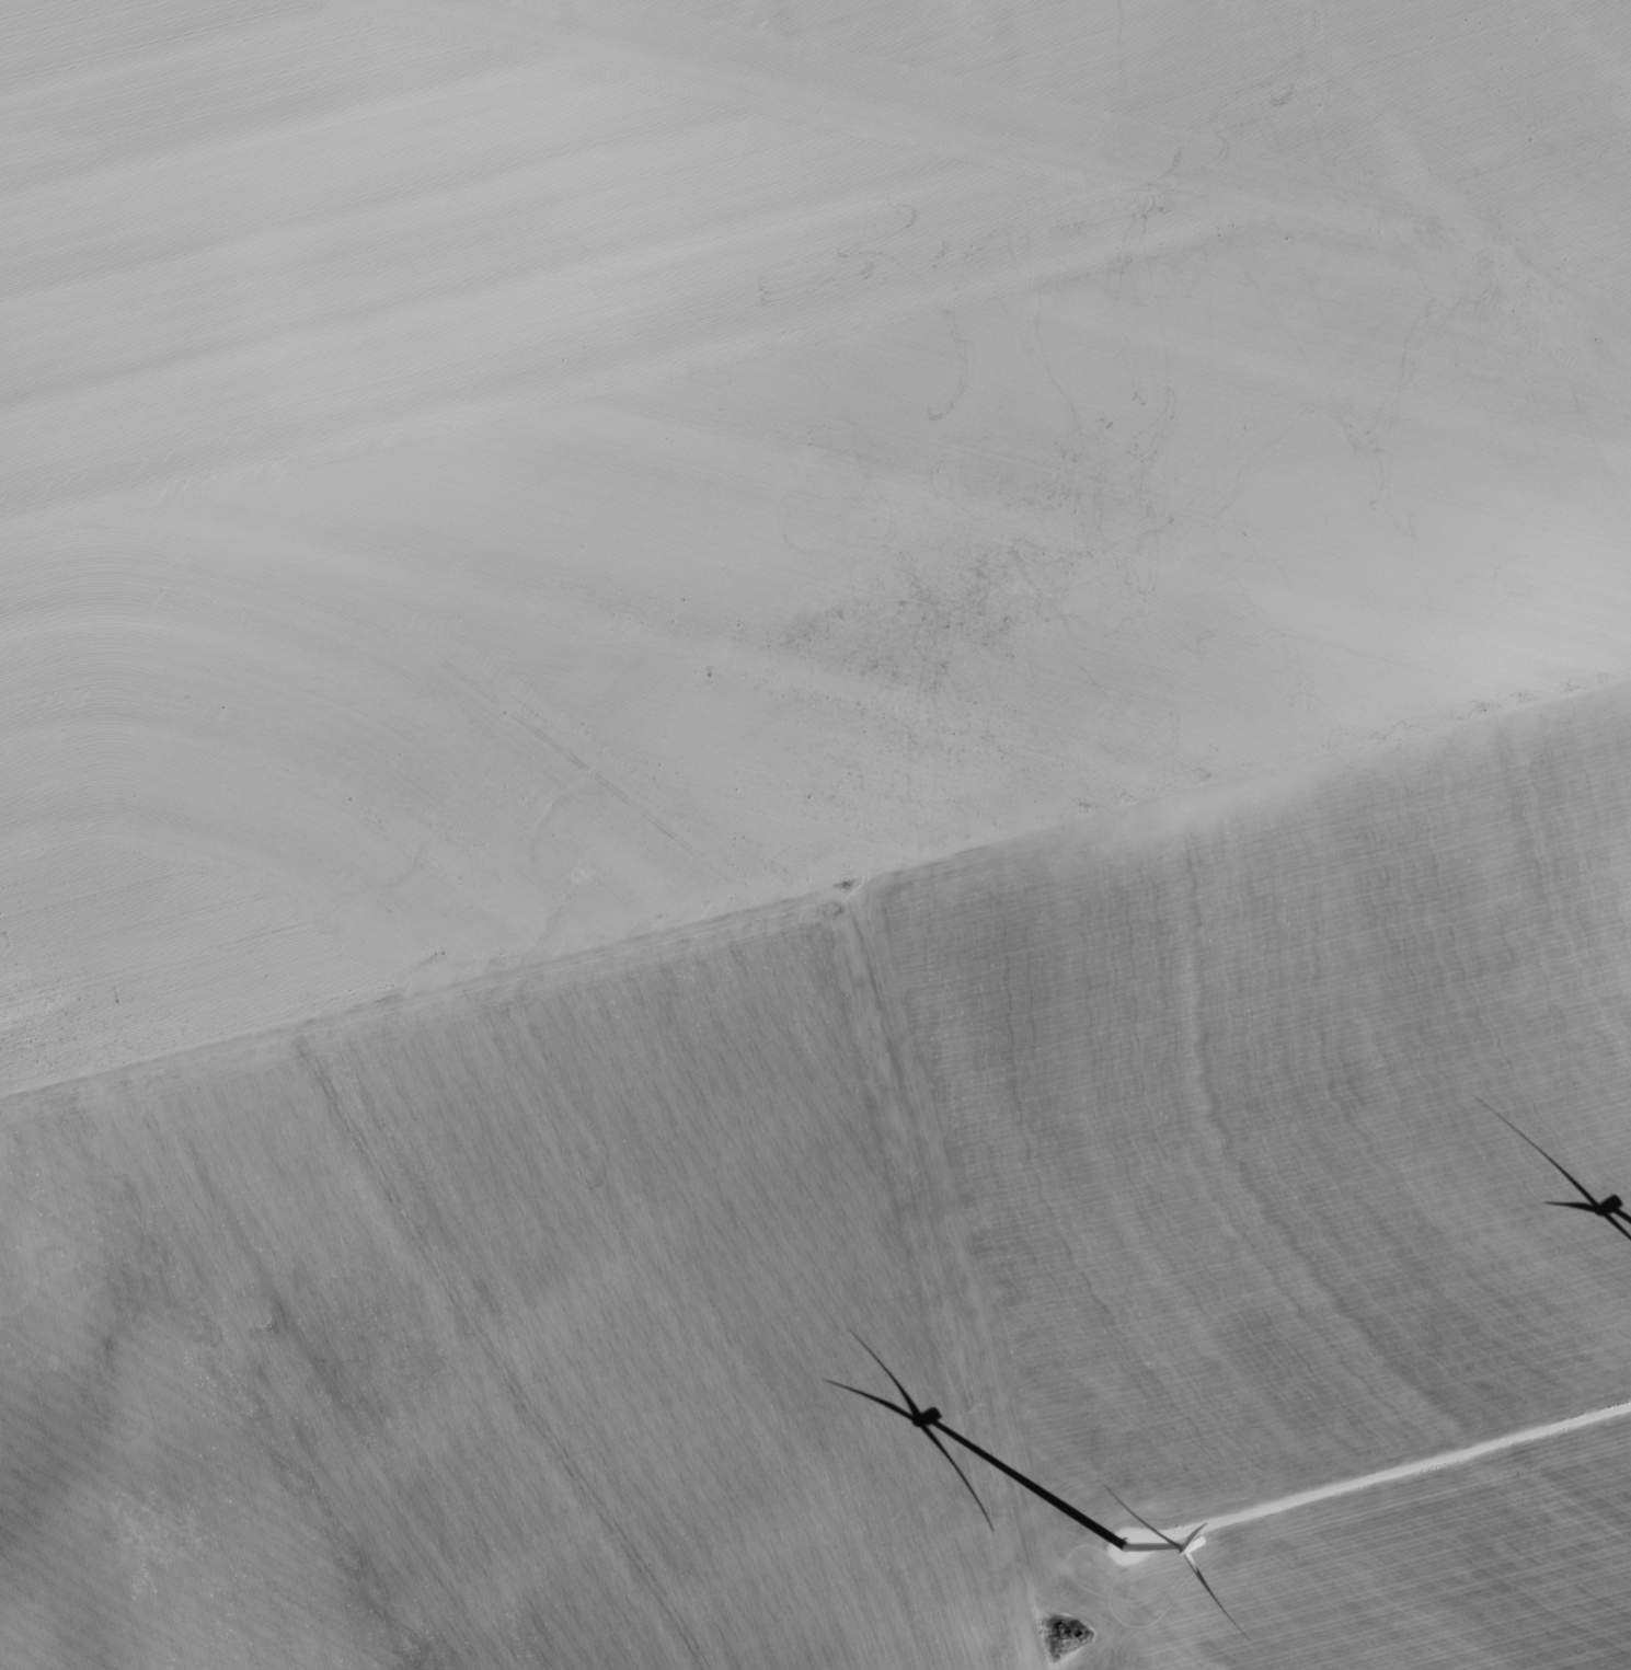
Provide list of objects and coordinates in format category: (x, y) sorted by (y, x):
wind turbine: (1122, 1550)

